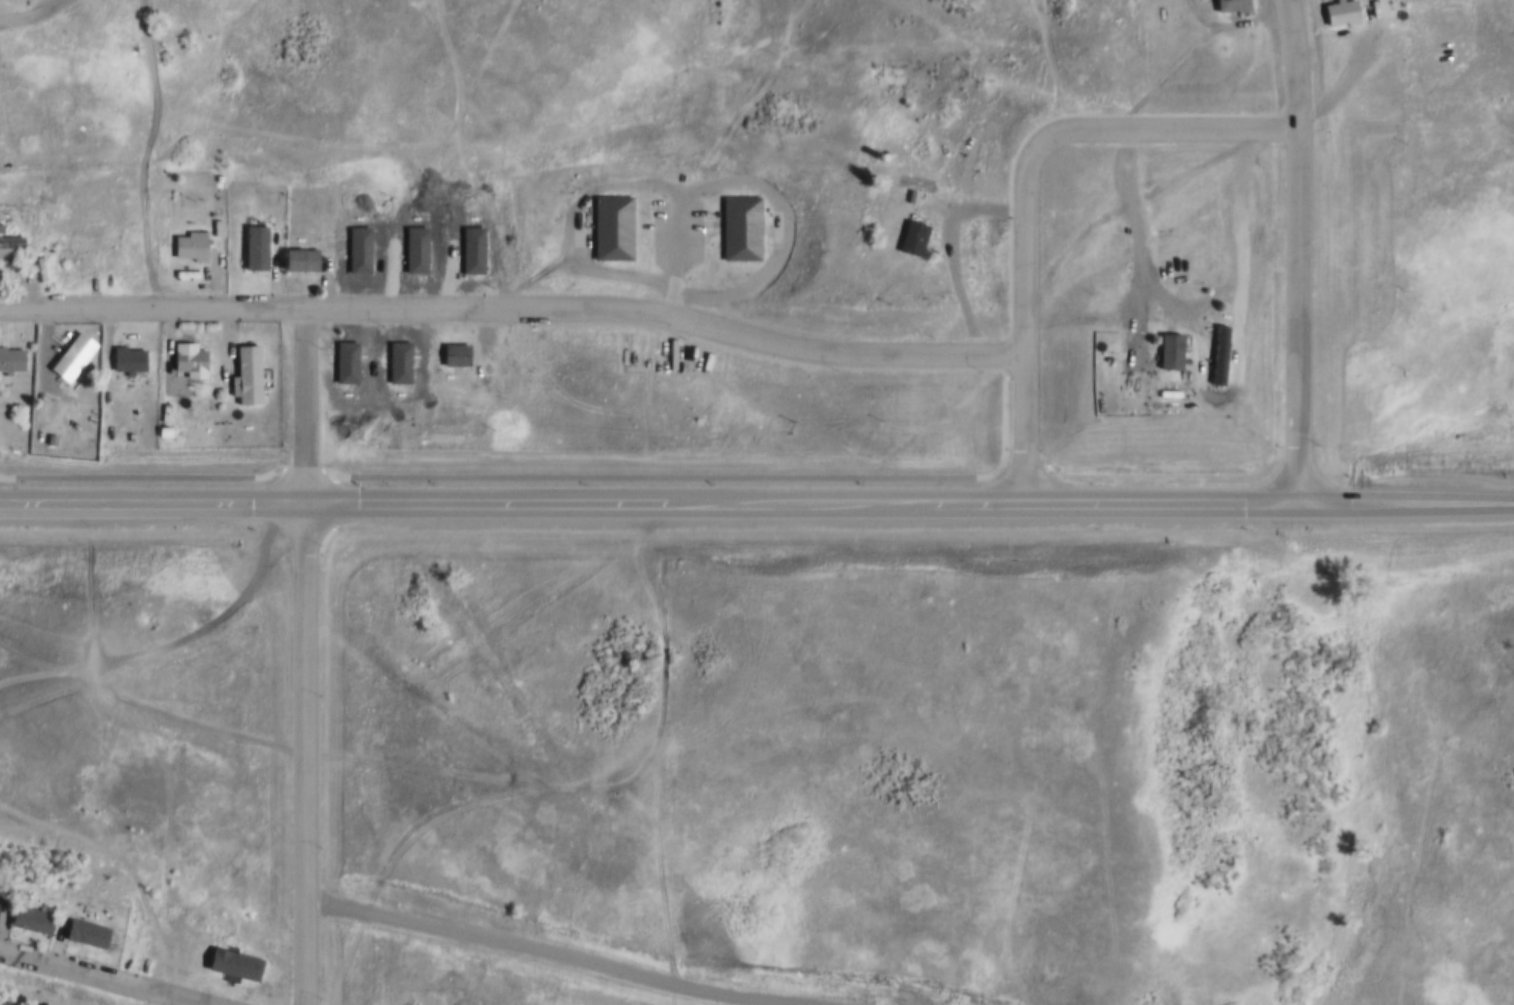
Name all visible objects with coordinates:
building: (4, 0)
building: (1228, 6)
building: (1336, 16)
road: (43, 23)
road: (1237, 32)
road: (1350, 73)
road: (999, 128)
road: (1028, 195)
building: (742, 223)
building: (611, 226)
building: (912, 236)
building: (189, 242)
building: (10, 245)
building: (254, 246)
road: (1300, 252)
building: (969, 255)
building: (468, 256)
building: (403, 257)
building: (352, 258)
building: (299, 259)
road: (516, 311)
road: (1129, 338)
building: (454, 350)
building: (402, 351)
building: (348, 352)
building: (71, 354)
building: (126, 355)
building: (188, 355)
building: (10, 356)
building: (1166, 358)
building: (1213, 362)
building: (247, 372)
building: (164, 426)
building: (52, 432)
road: (1270, 505)
road: (513, 506)
road: (312, 658)
road: (192, 660)
building: (28, 919)
building: (84, 934)
building: (231, 963)
road: (93, 978)
building: (3, 999)
building: (41, 1003)

